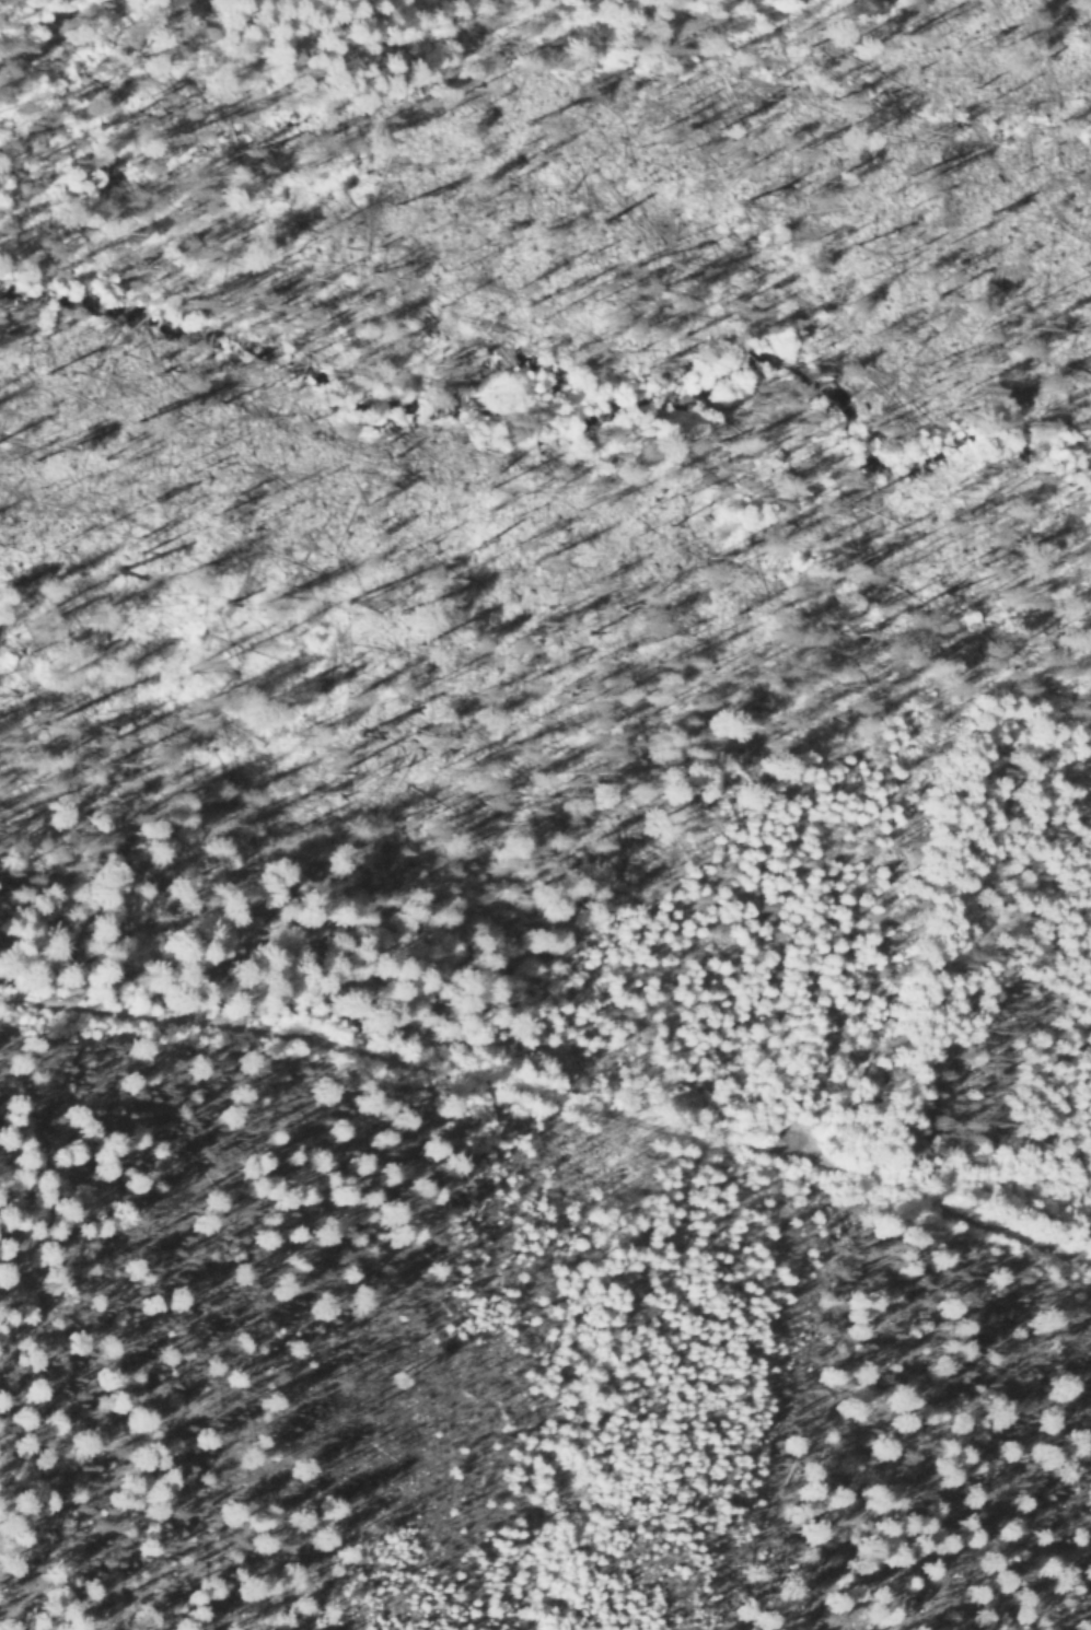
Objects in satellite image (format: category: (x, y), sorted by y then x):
road: (554, 1111)

